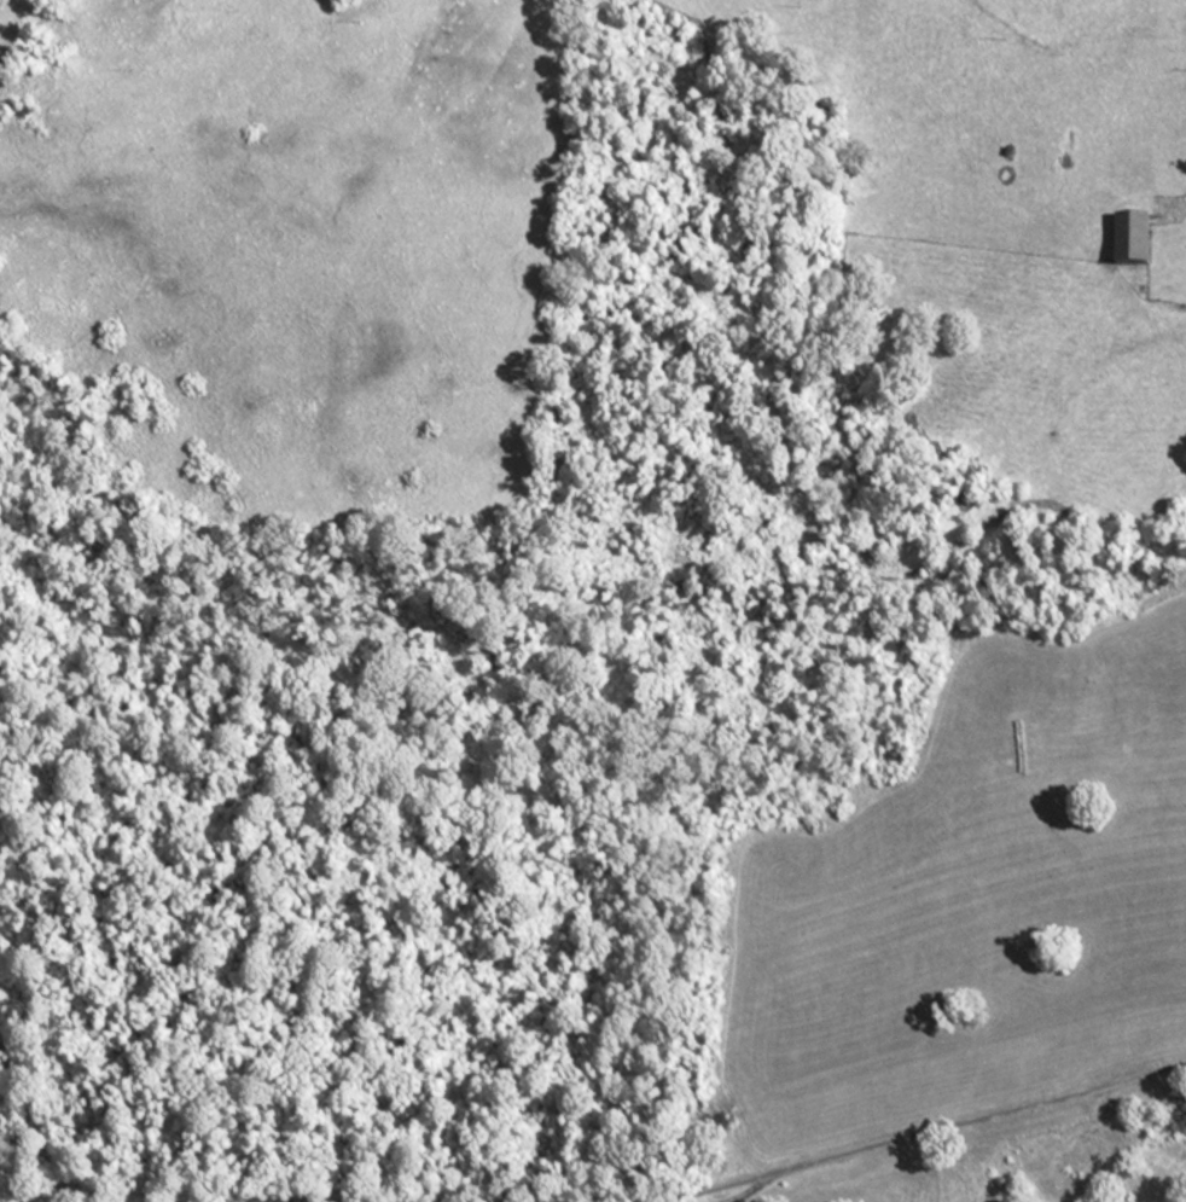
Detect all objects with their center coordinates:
building: (1133, 238)
road: (29, 1132)
road: (919, 1139)
road: (749, 1194)

